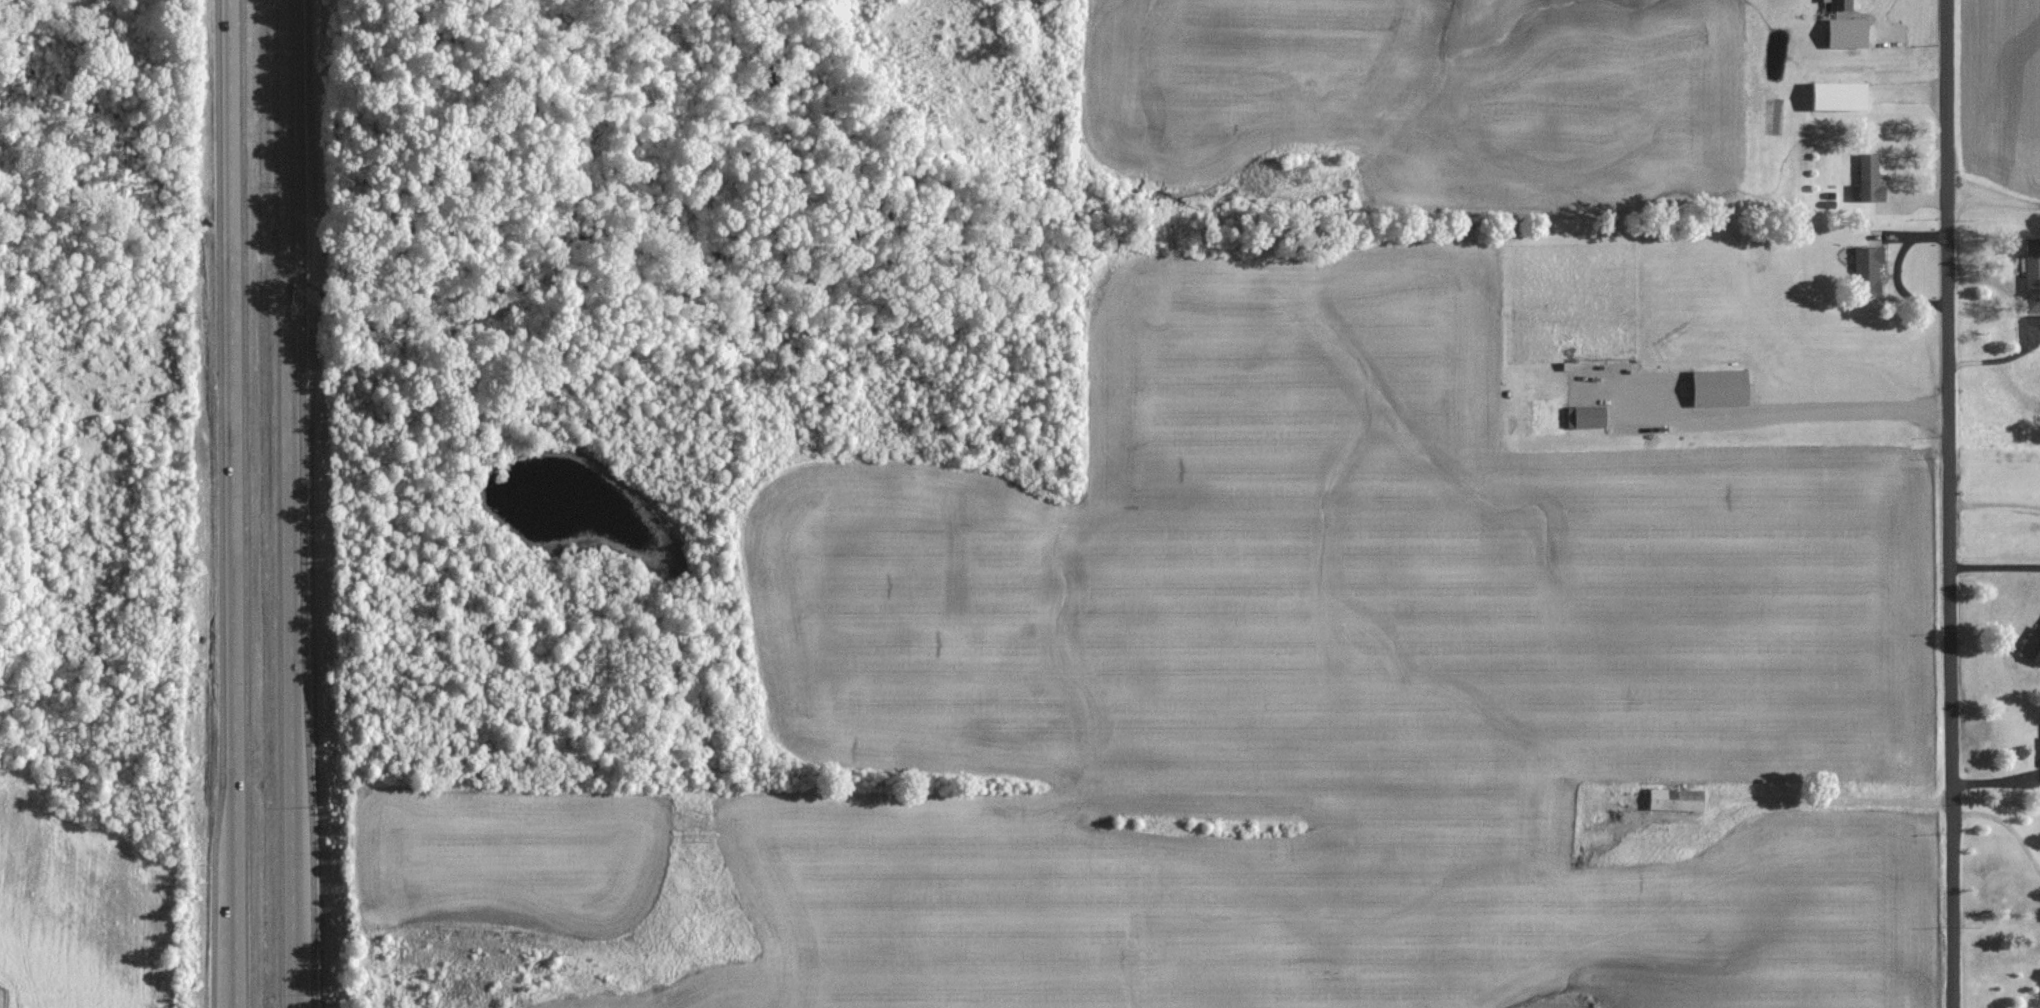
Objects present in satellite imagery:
building: (1839, 95)
building: (1870, 178)
road: (1995, 201)
building: (1868, 270)
building: (2032, 275)
building: (1719, 386)
road: (1857, 410)
building: (1589, 416)
road: (235, 503)
road: (1953, 503)
road: (1996, 503)
road: (295, 504)
road: (1996, 567)
building: (2032, 645)
building: (1675, 798)
road: (1829, 798)
road: (2007, 827)
road: (232, 904)

